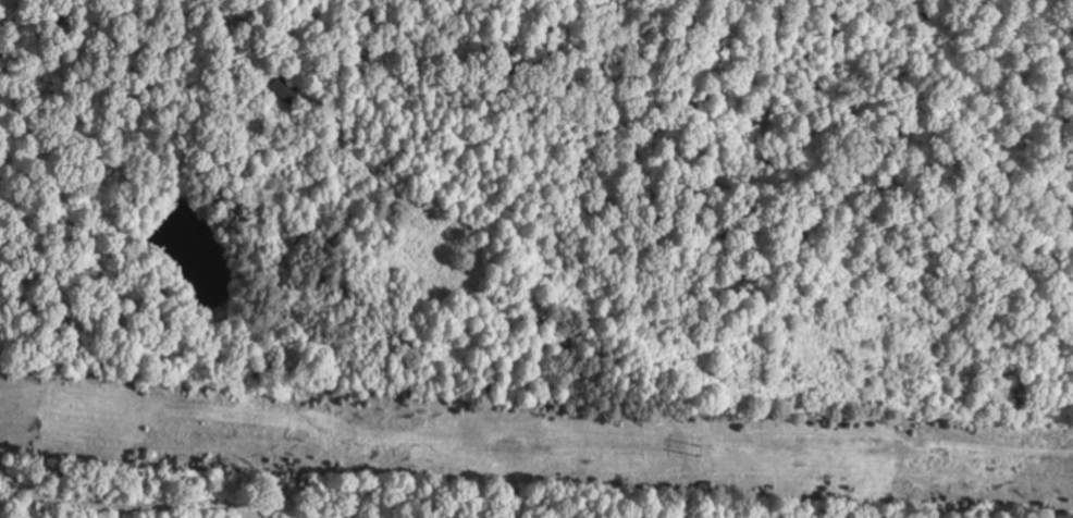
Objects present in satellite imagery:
building: (286, 89)
power tower: (700, 449)

